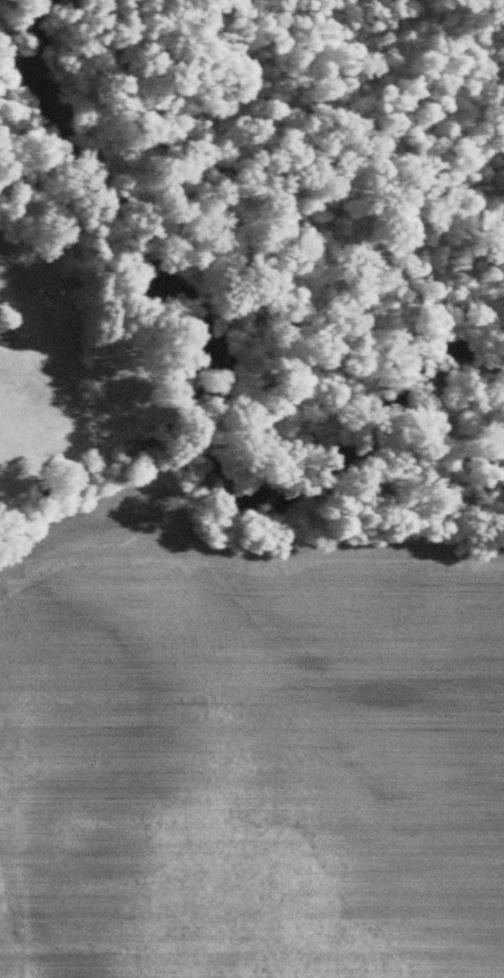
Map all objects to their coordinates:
river: (200, 298)

